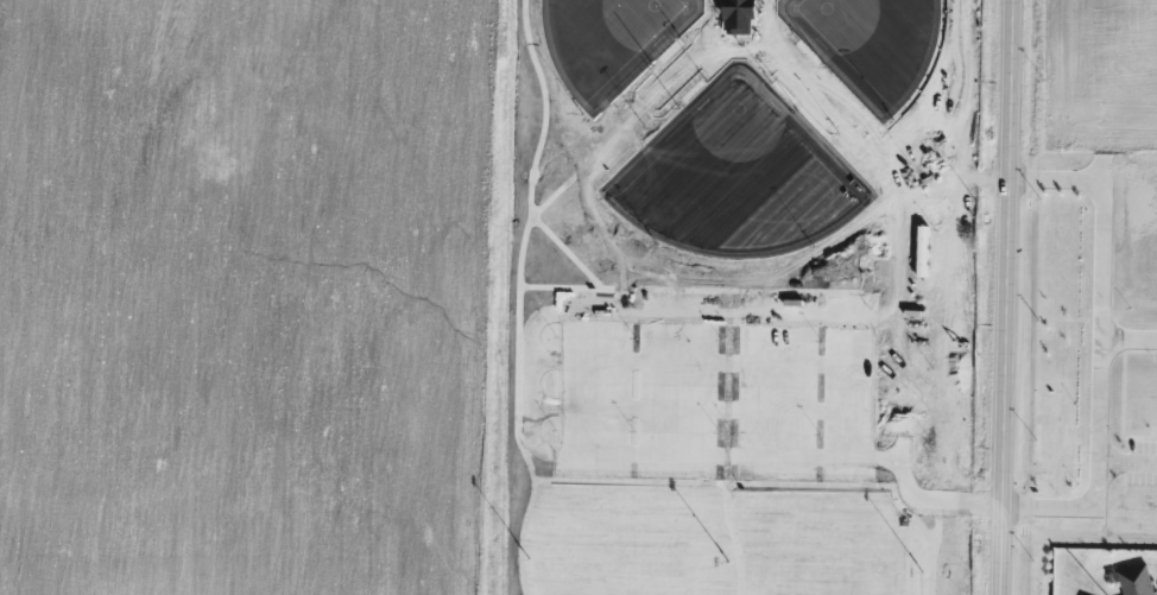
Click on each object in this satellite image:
road: (1005, 297)
road: (1090, 342)
road: (1124, 342)
road: (1124, 464)

